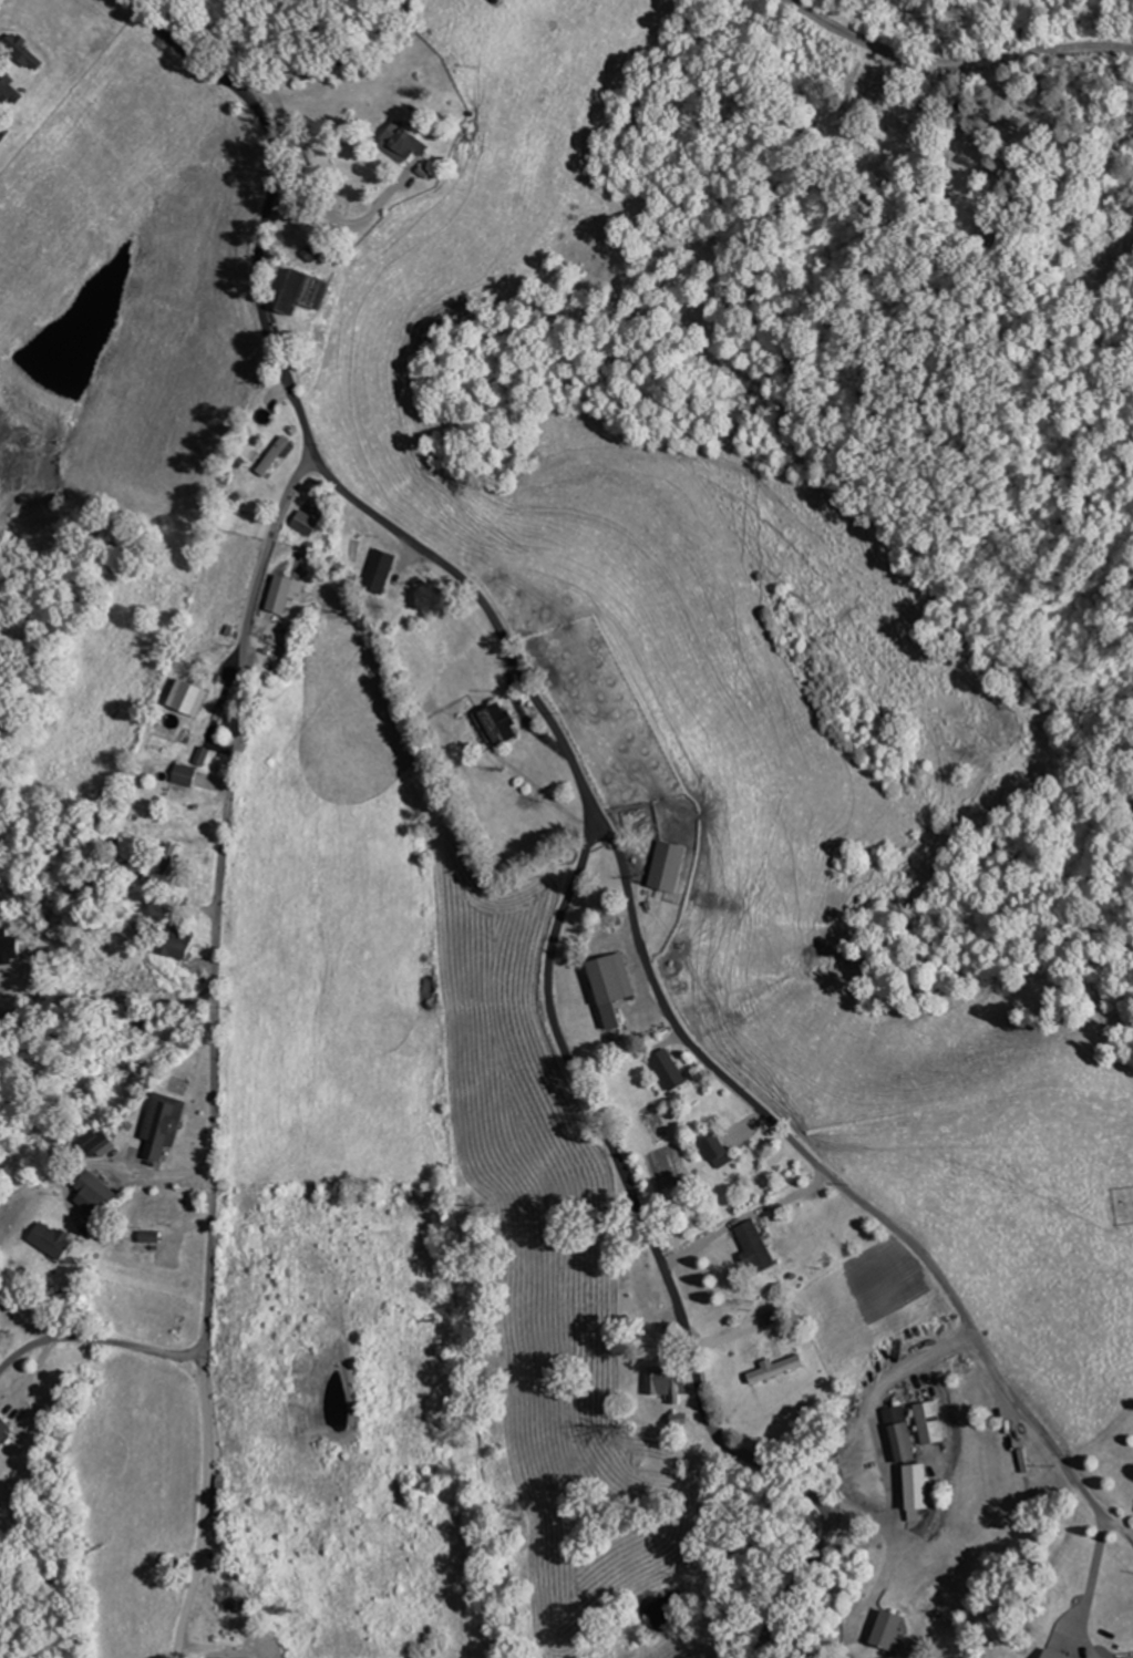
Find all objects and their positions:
building: (29, 53)
road: (328, 62)
road: (954, 65)
building: (872, 83)
building: (10, 89)
building: (3, 137)
building: (405, 141)
building: (320, 250)
building: (313, 290)
building: (282, 454)
building: (310, 523)
building: (383, 570)
building: (287, 594)
building: (194, 698)
building: (502, 723)
building: (189, 775)
road: (584, 799)
building: (671, 866)
building: (181, 944)
building: (11, 950)
building: (617, 987)
road: (217, 1049)
building: (672, 1070)
building: (168, 1125)
building: (720, 1151)
road: (840, 1182)
building: (102, 1191)
building: (157, 1236)
building: (56, 1240)
building: (760, 1246)
building: (1, 1305)
road: (97, 1342)
building: (755, 1355)
building: (781, 1369)
building: (671, 1382)
building: (930, 1423)
building: (4, 1428)
building: (899, 1434)
building: (920, 1487)
building: (225, 1496)
building: (892, 1629)
building: (230, 1657)

